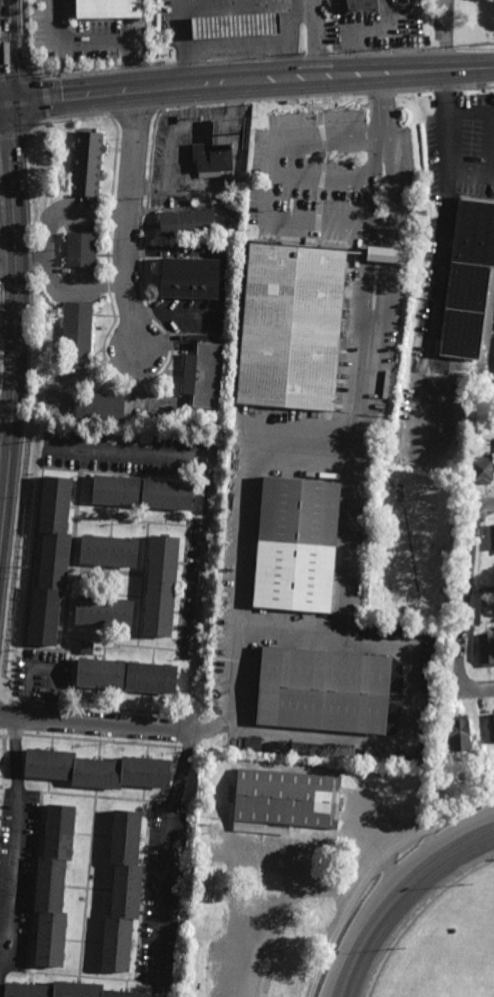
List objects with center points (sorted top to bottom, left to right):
building: (362, 6)
road: (218, 8)
building: (111, 9)
road: (290, 12)
building: (236, 26)
road: (316, 39)
road: (98, 43)
power tower: (493, 44)
road: (236, 45)
power tower: (411, 49)
power tower: (386, 50)
road: (7, 53)
power tower: (303, 54)
power tower: (159, 64)
road: (468, 69)
power tower: (57, 72)
road: (379, 74)
road: (162, 87)
road: (4, 107)
traffic signals: (9, 107)
road: (469, 112)
road: (179, 130)
building: (212, 159)
building: (86, 164)
road: (471, 175)
road: (270, 176)
road: (448, 179)
building: (187, 224)
road: (128, 231)
road: (365, 235)
road: (10, 247)
road: (50, 248)
building: (80, 249)
road: (35, 253)
building: (386, 255)
road: (11, 273)
building: (468, 278)
building: (190, 279)
road: (10, 321)
building: (292, 327)
building: (76, 335)
road: (20, 345)
building: (203, 376)
building: (493, 392)
building: (104, 408)
road: (9, 419)
building: (481, 468)
building: (142, 490)
road: (249, 494)
road: (491, 504)
road: (205, 513)
building: (491, 535)
building: (296, 546)
building: (108, 549)
building: (50, 559)
building: (161, 585)
building: (488, 590)
road: (465, 601)
building: (103, 611)
road: (342, 626)
building: (86, 647)
building: (486, 648)
road: (41, 669)
building: (125, 675)
road: (487, 686)
building: (322, 691)
road: (97, 720)
building: (491, 728)
building: (458, 733)
road: (392, 746)
building: (322, 749)
road: (14, 752)
building: (96, 769)
building: (492, 778)
building: (284, 802)
road: (166, 854)
road: (374, 872)
road: (12, 880)
road: (294, 881)
building: (208, 883)
building: (51, 887)
building: (122, 892)
road: (321, 895)
track: (409, 900)
building: (191, 969)
building: (61, 991)

